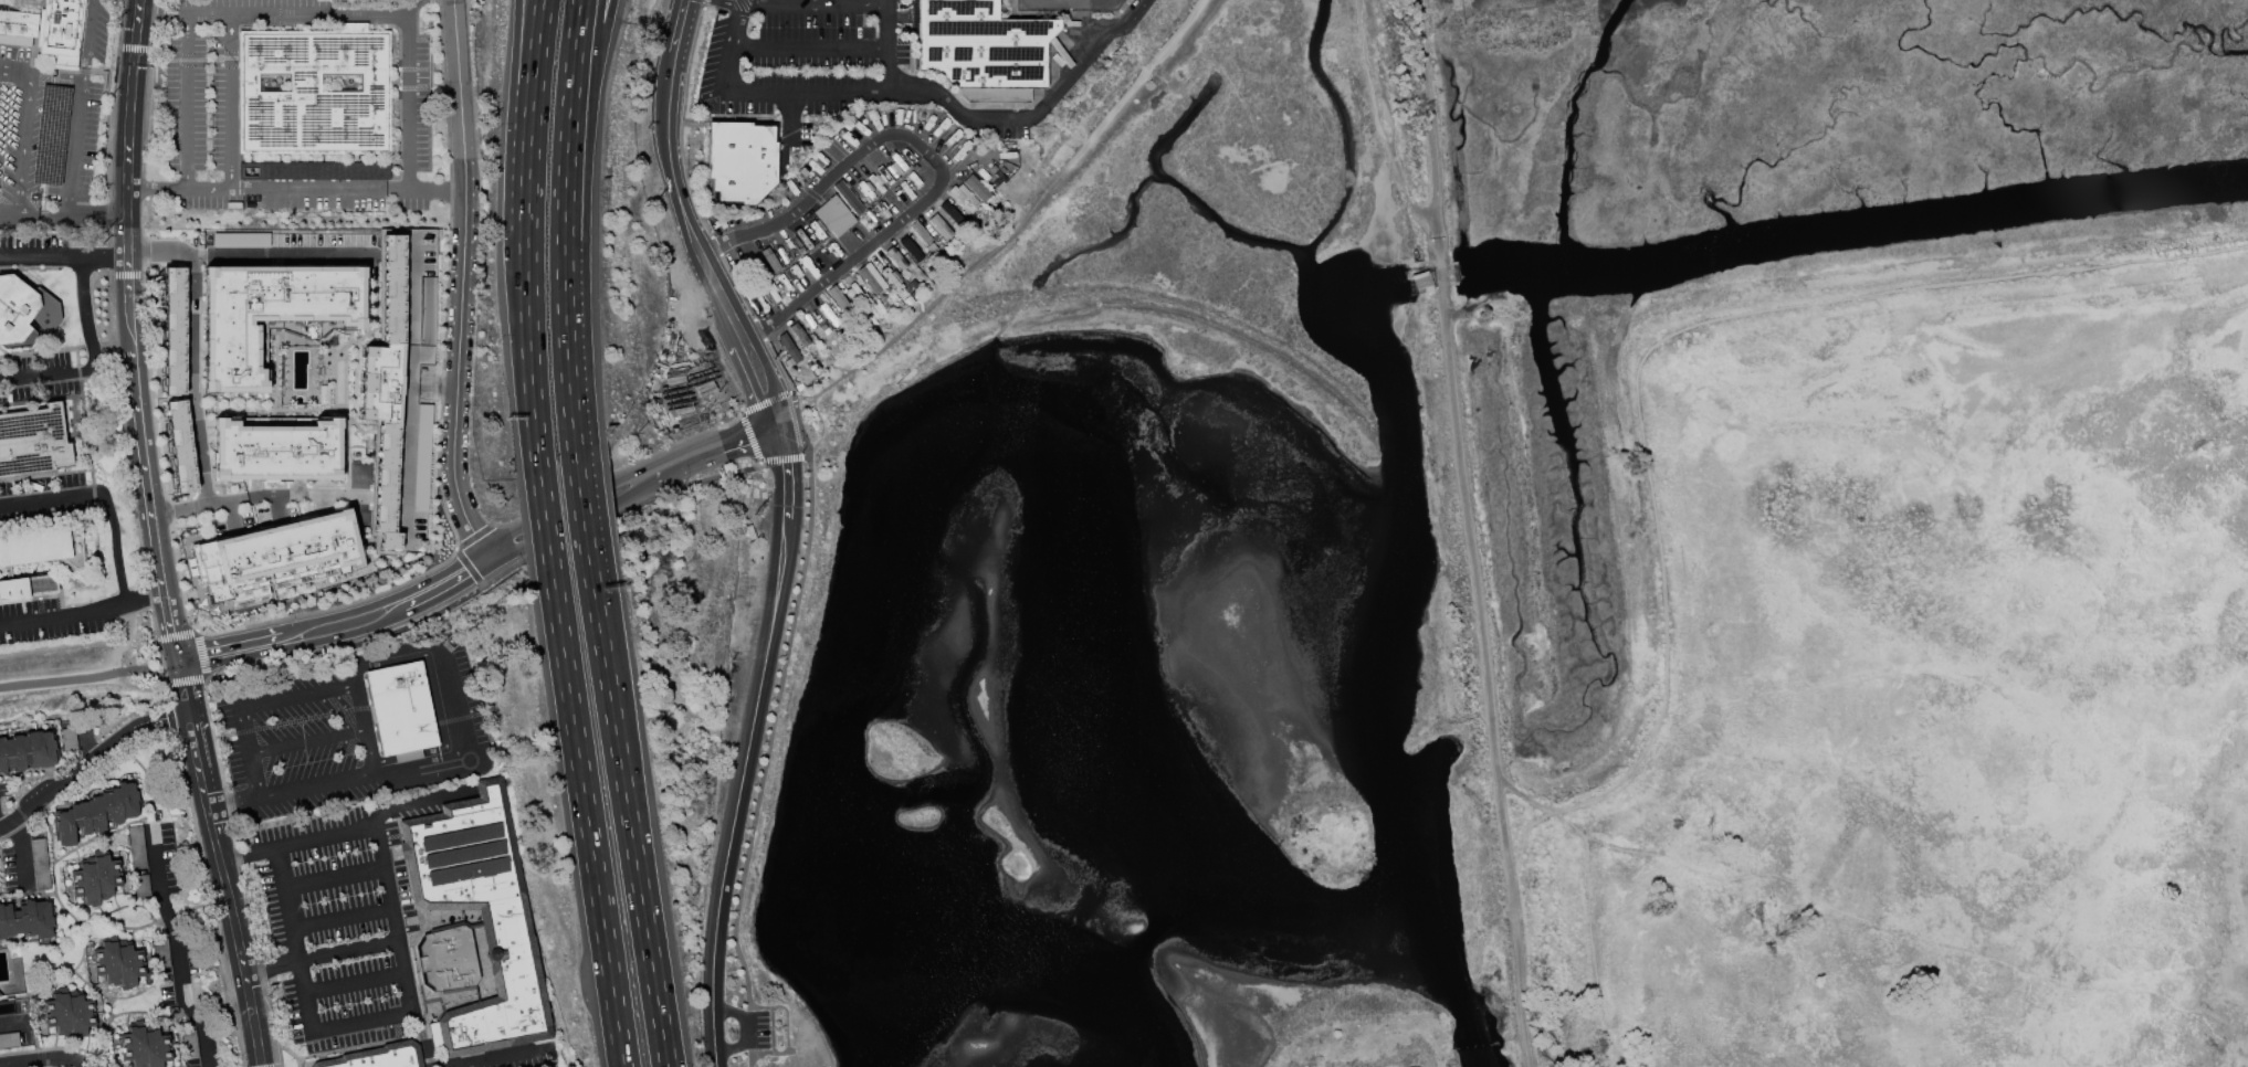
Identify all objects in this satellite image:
road: (850, 1)
road: (703, 4)
power substation: (1068, 4)
road: (161, 9)
road: (297, 9)
road: (715, 9)
road: (733, 13)
building: (15, 21)
building: (60, 32)
road: (85, 42)
road: (731, 44)
road: (885, 44)
road: (808, 47)
road: (133, 49)
building: (981, 50)
parking lot: (823, 66)
road: (15, 76)
road: (533, 86)
road: (517, 87)
building: (314, 91)
road: (569, 91)
road: (588, 91)
road: (830, 91)
road: (186, 97)
road: (1046, 97)
road: (230, 98)
road: (718, 102)
road: (879, 104)
road: (1426, 116)
road: (787, 118)
road: (698, 119)
road: (746, 119)
road: (408, 120)
road: (784, 120)
road: (77, 123)
road: (681, 124)
road: (693, 125)
building: (50, 135)
road: (106, 137)
road: (148, 138)
road: (25, 144)
road: (933, 155)
building: (740, 160)
building: (315, 171)
road: (671, 175)
road: (155, 187)
road: (207, 187)
building: (975, 188)
road: (319, 189)
building: (847, 198)
building: (963, 198)
road: (10, 209)
building: (949, 211)
road: (72, 212)
building: (833, 216)
road: (526, 224)
building: (938, 226)
road: (1018, 226)
building: (920, 233)
building: (240, 240)
road: (715, 245)
building: (908, 250)
road: (63, 253)
road: (245, 257)
building: (895, 258)
road: (1439, 268)
road: (2066, 271)
road: (126, 275)
building: (871, 278)
road: (461, 282)
building: (1420, 282)
road: (736, 287)
building: (838, 299)
road: (127, 300)
building: (15, 310)
building: (273, 315)
building: (828, 315)
road: (564, 317)
road: (759, 329)
building: (177, 331)
building: (798, 335)
building: (787, 350)
road: (91, 356)
road: (778, 366)
road: (756, 369)
road: (529, 372)
road: (192, 383)
building: (400, 387)
road: (149, 388)
traffic signals: (767, 397)
road: (765, 402)
road: (795, 406)
road: (440, 412)
road: (774, 414)
road: (123, 431)
road: (826, 431)
road: (747, 437)
road: (749, 437)
traffic signals: (745, 439)
building: (32, 442)
road: (781, 443)
building: (182, 446)
building: (276, 452)
road: (784, 459)
traffic signals: (786, 465)
road: (1648, 474)
road: (787, 488)
road: (105, 495)
road: (600, 499)
road: (243, 500)
road: (579, 504)
road: (168, 513)
road: (544, 519)
road: (231, 520)
road: (187, 539)
building: (42, 547)
building: (276, 558)
road: (181, 580)
road: (444, 582)
road: (491, 585)
building: (28, 587)
road: (200, 592)
road: (187, 595)
road: (149, 596)
road: (145, 602)
road: (233, 606)
road: (112, 613)
road: (133, 613)
road: (63, 615)
road: (154, 624)
road: (168, 630)
road: (178, 635)
road: (288, 637)
road: (118, 651)
road: (206, 655)
traffic signals: (175, 661)
road: (161, 662)
road: (177, 670)
road: (85, 678)
road: (187, 680)
road: (1485, 685)
road: (166, 695)
road: (296, 696)
road: (449, 696)
road: (182, 698)
road: (358, 708)
building: (401, 710)
road: (1952, 711)
road: (178, 717)
road: (169, 718)
road: (281, 722)
road: (364, 728)
building: (67, 739)
parking lot: (300, 741)
road: (306, 742)
building: (28, 750)
road: (246, 752)
road: (193, 759)
road: (767, 761)
road: (82, 764)
road: (315, 785)
road: (737, 792)
road: (1531, 799)
road: (230, 800)
road: (627, 811)
building: (97, 812)
road: (586, 817)
road: (355, 828)
building: (136, 847)
road: (19, 849)
road: (239, 873)
road: (335, 877)
building: (95, 878)
building: (141, 885)
road: (211, 898)
road: (285, 904)
building: (481, 915)
parking lot: (338, 919)
building: (27, 920)
road: (343, 920)
road: (234, 933)
road: (175, 948)
road: (321, 955)
building: (449, 959)
building: (116, 963)
road: (356, 984)
building: (0, 995)
building: (66, 1014)
road: (363, 1023)
road: (755, 1028)
parking lot: (763, 1031)
building: (9, 1040)
building: (144, 1046)
road: (46, 1056)
building: (377, 1057)
road: (277, 1066)

